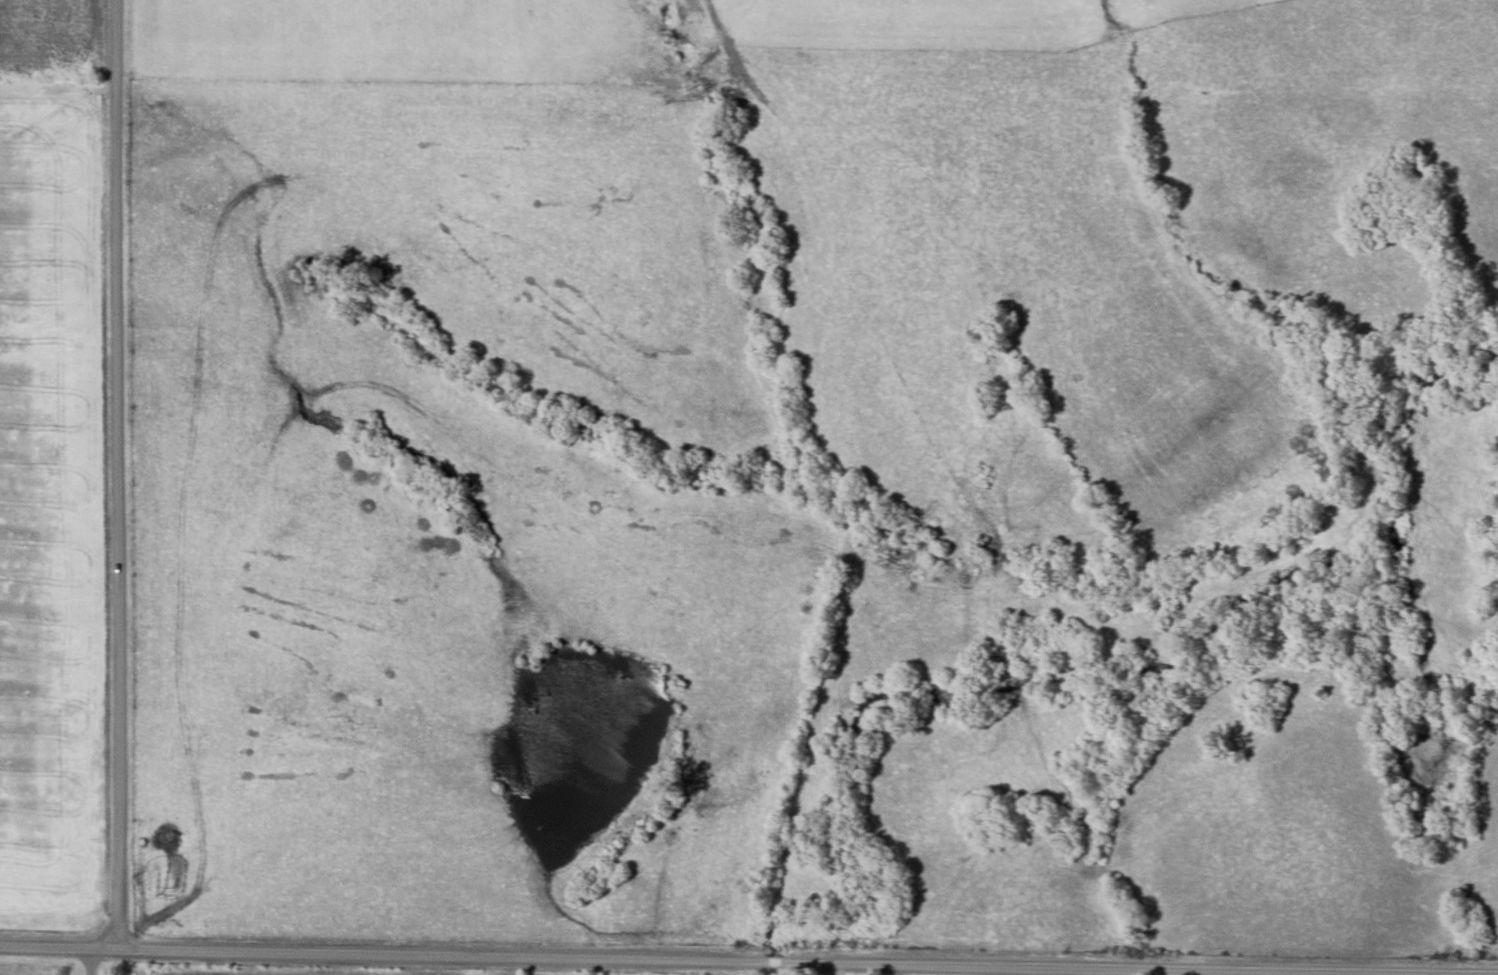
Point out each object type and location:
road: (121, 472)
road: (604, 959)
road: (119, 960)

